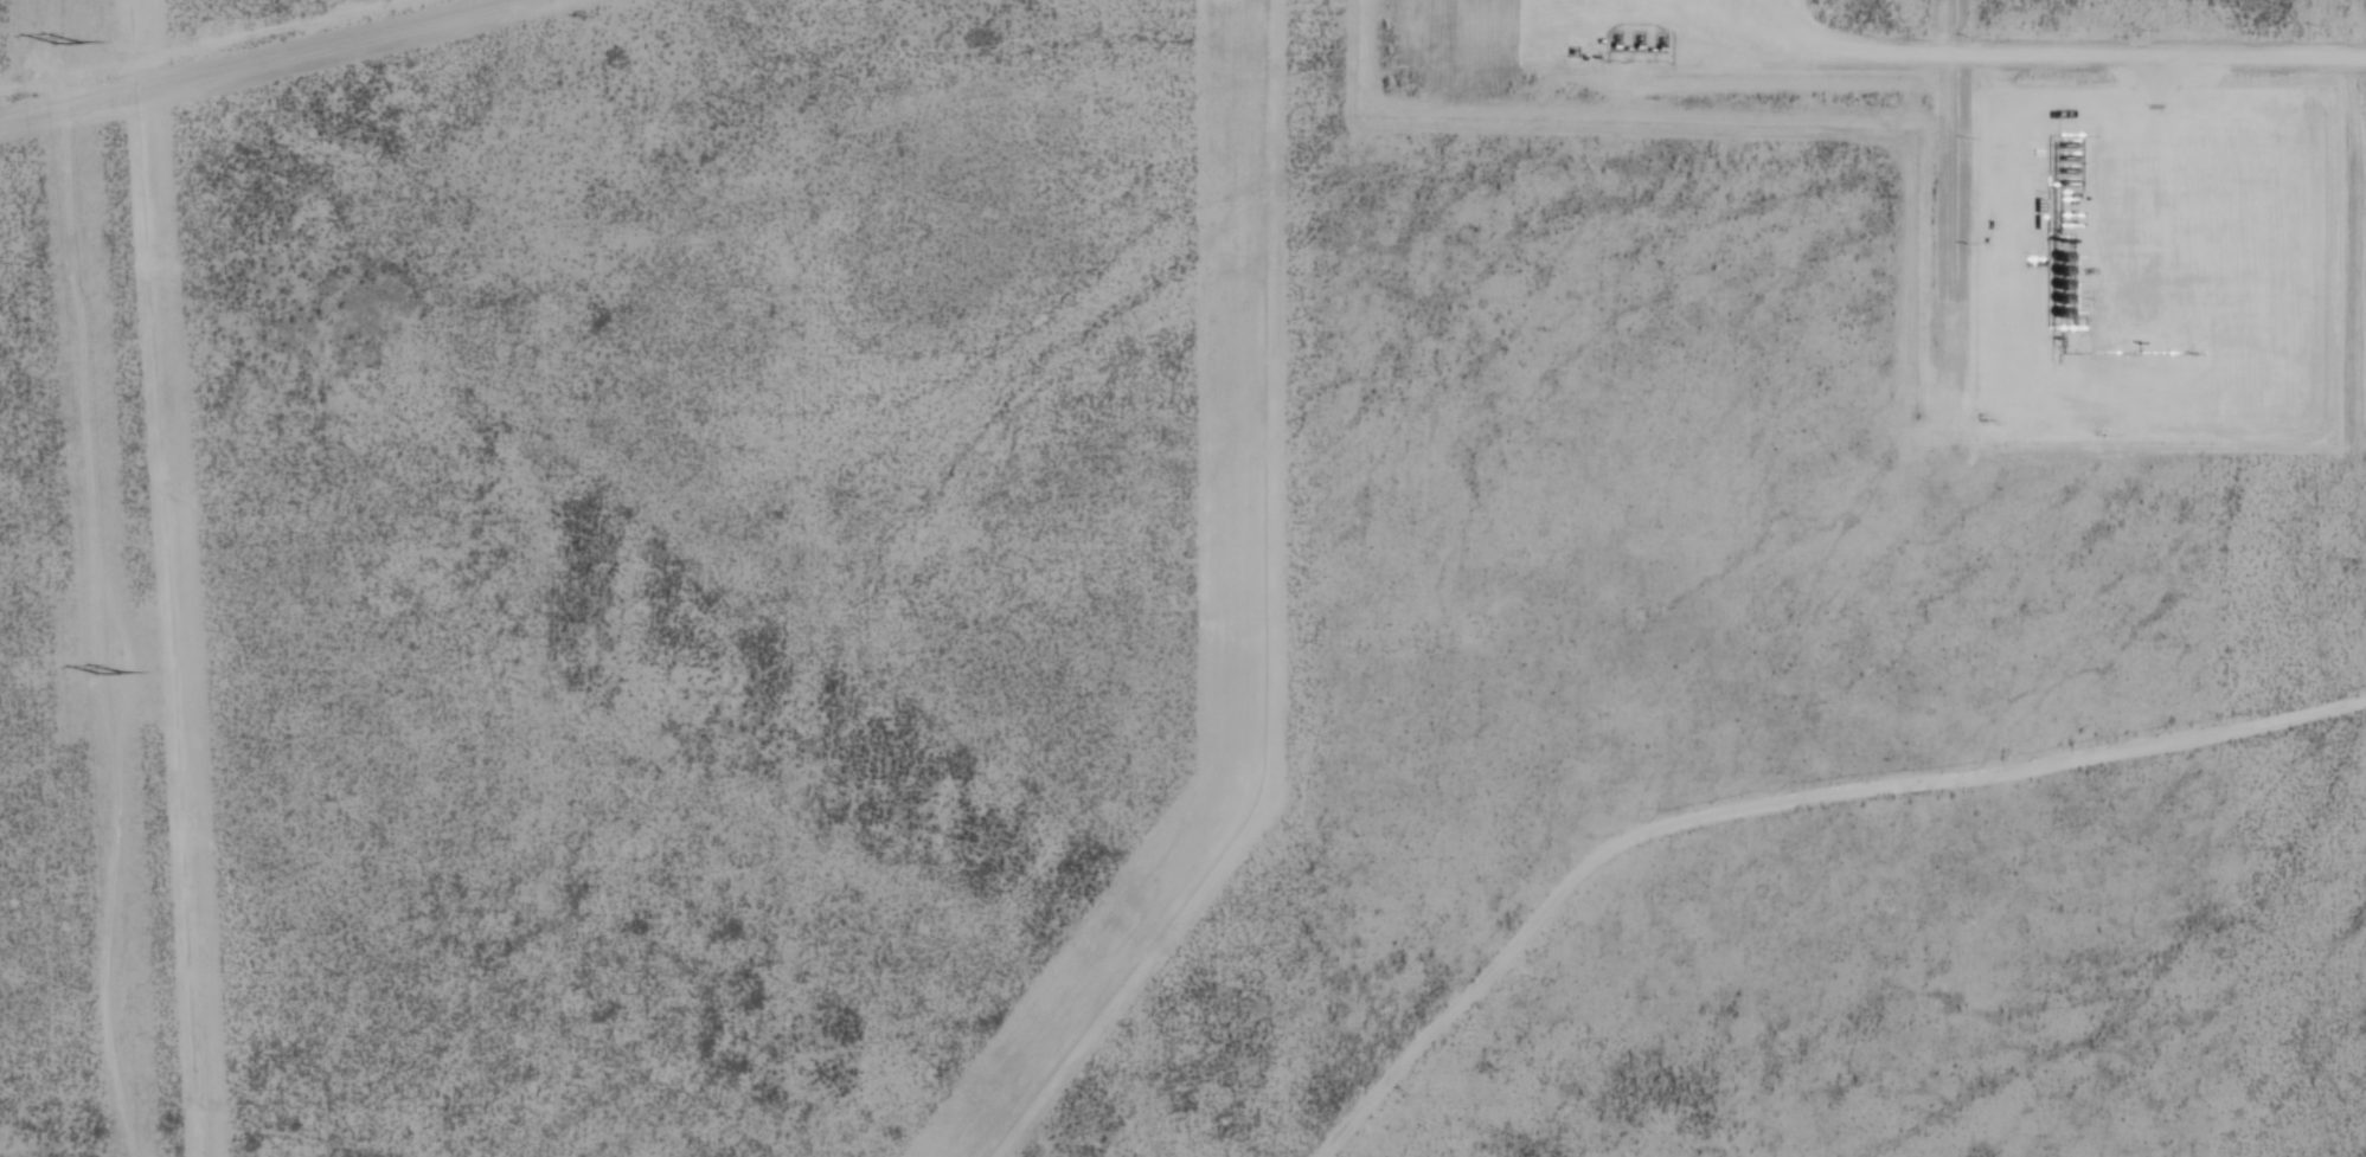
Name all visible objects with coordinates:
power tower: (58, 44)
road: (1980, 56)
power tower: (100, 673)
road: (1781, 801)

